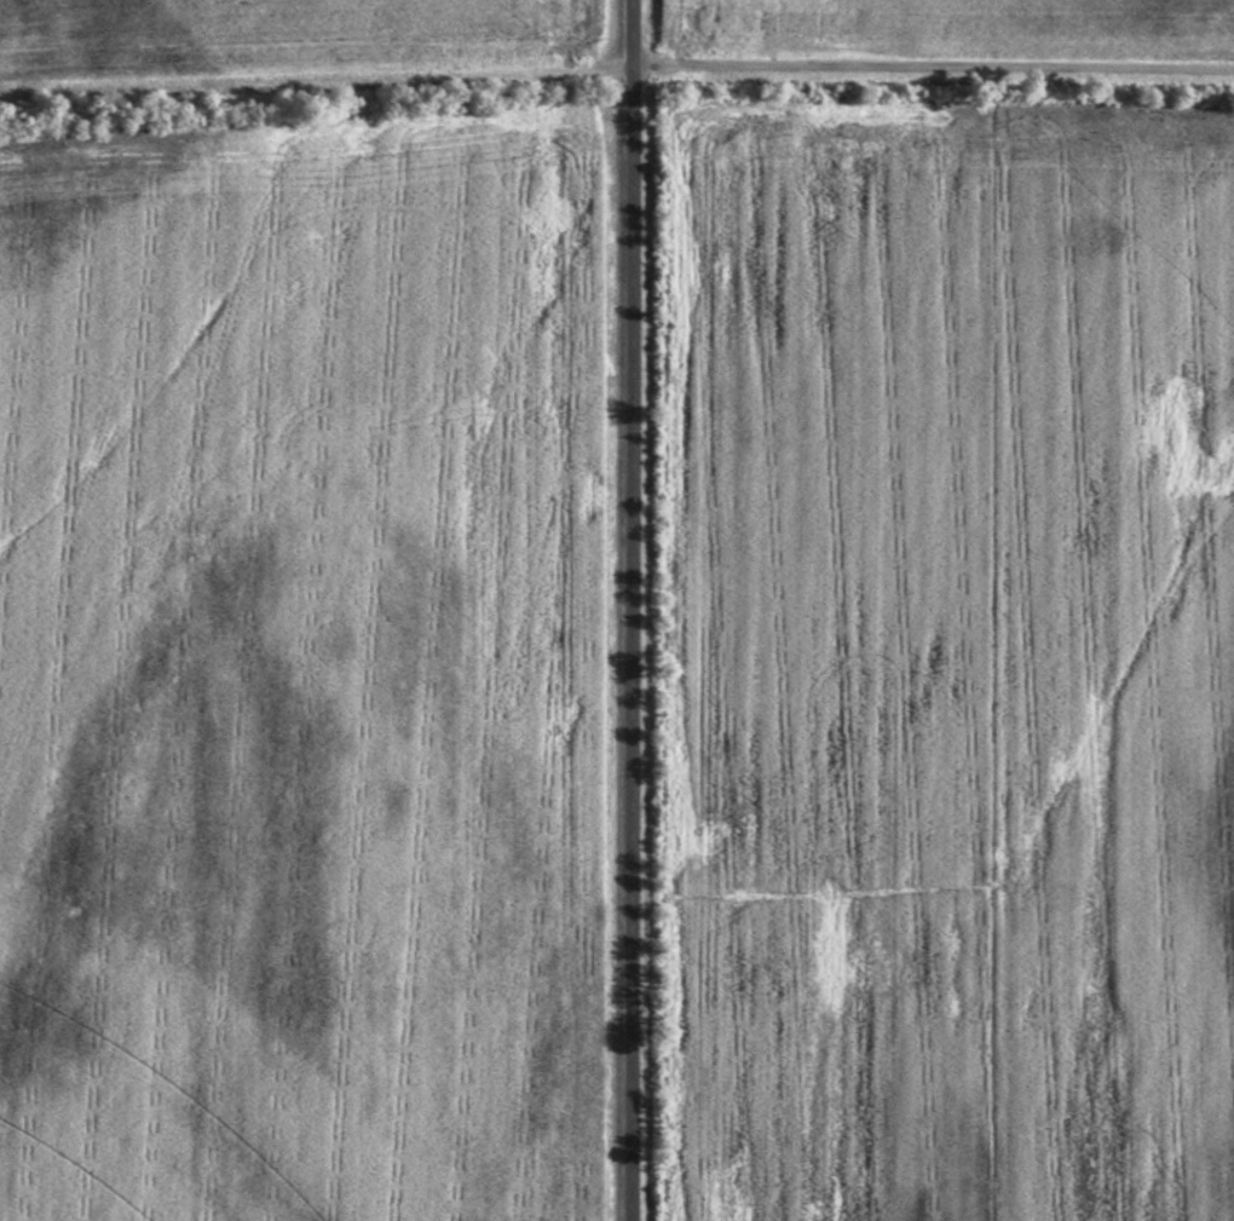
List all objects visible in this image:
road: (934, 58)
road: (634, 610)

